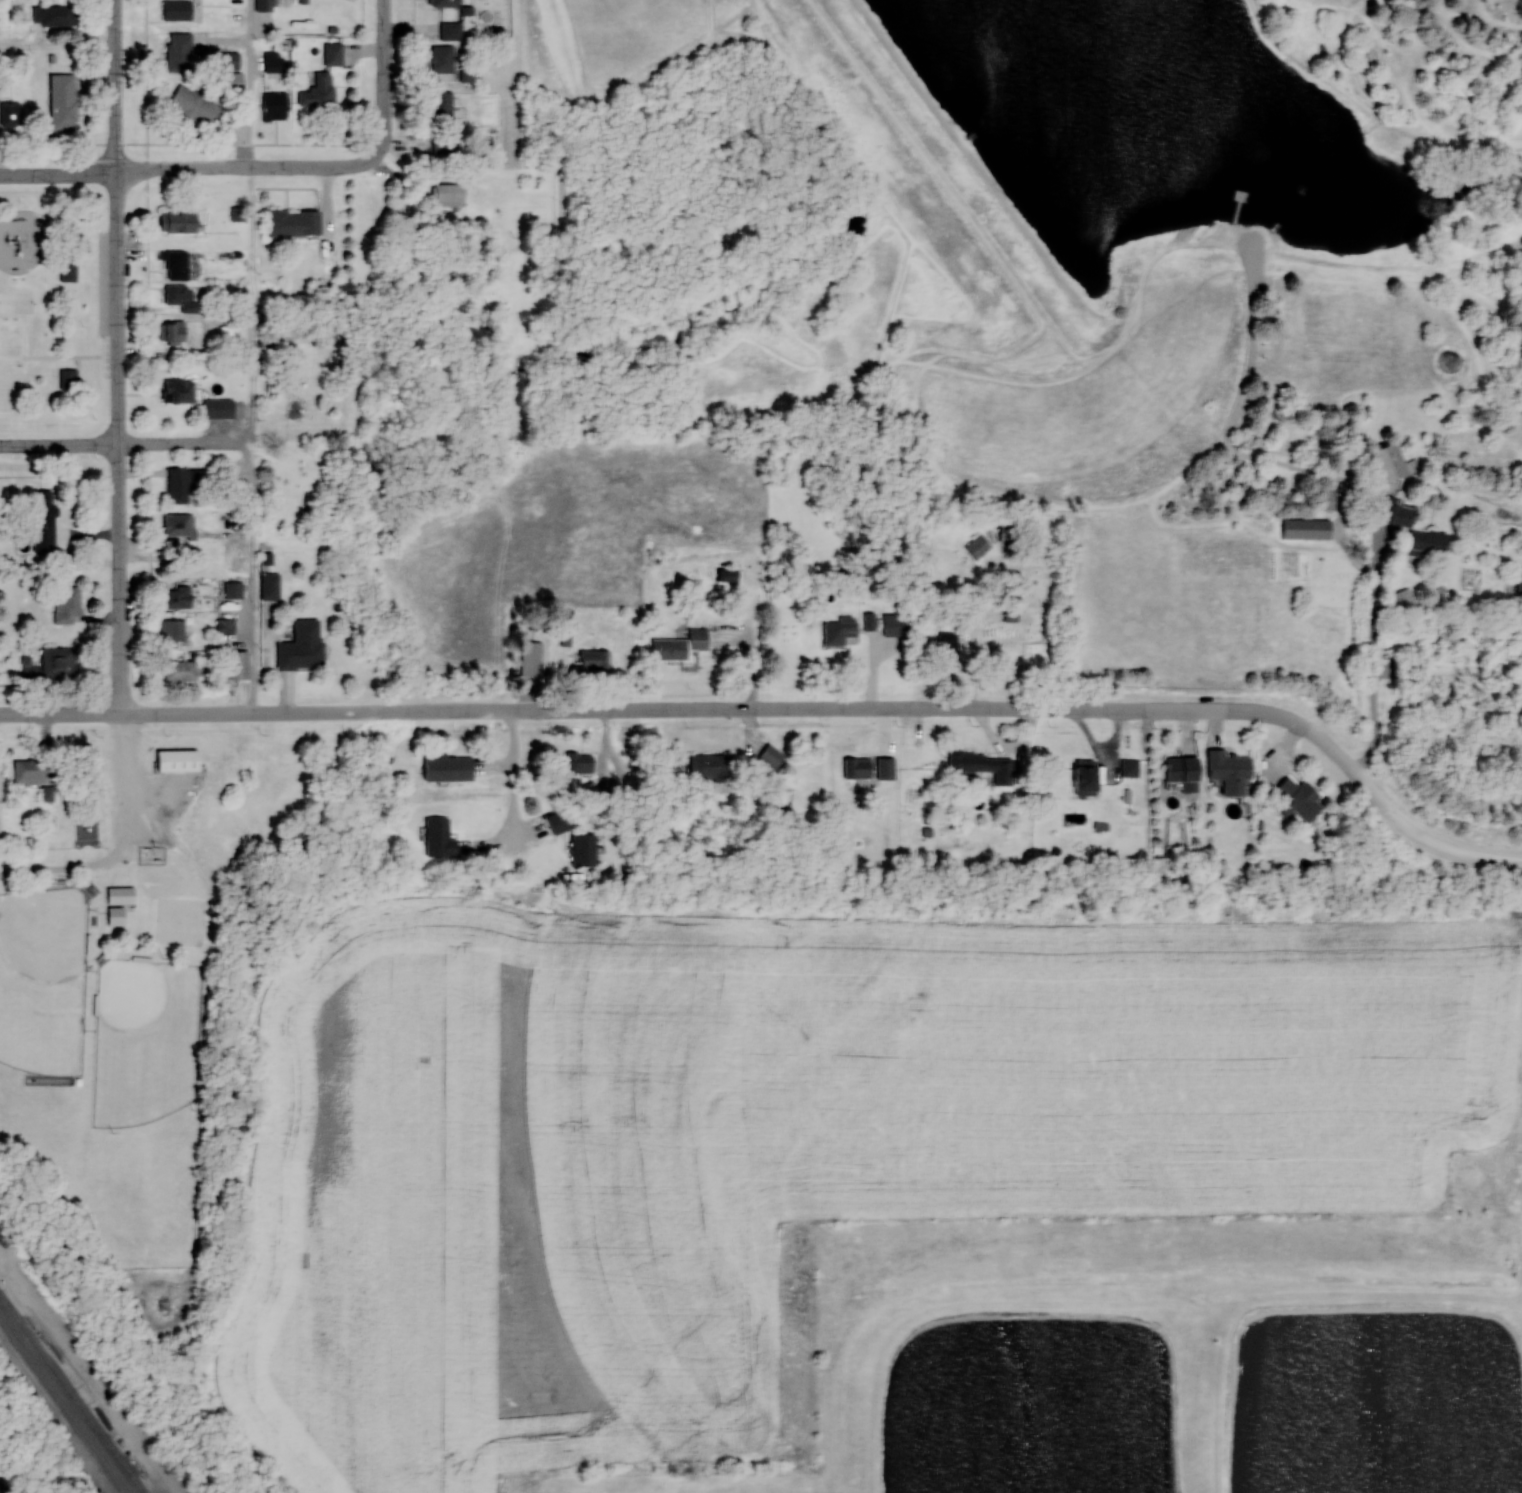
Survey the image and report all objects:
building: (445, 3)
building: (264, 6)
building: (177, 11)
building: (54, 16)
building: (452, 31)
building: (179, 52)
building: (334, 55)
building: (274, 63)
building: (450, 68)
road: (385, 82)
building: (319, 92)
building: (63, 103)
building: (195, 106)
building: (275, 107)
building: (441, 107)
building: (10, 116)
building: (445, 146)
road: (187, 168)
building: (449, 197)
building: (179, 222)
building: (294, 223)
parking lot: (1251, 257)
building: (176, 266)
building: (69, 271)
building: (183, 298)
park: (50, 309)
water park: (16, 320)
building: (291, 329)
building: (176, 333)
building: (69, 380)
building: (179, 392)
building: (220, 409)
road: (124, 423)
road: (118, 443)
building: (1390, 461)
road: (1365, 483)
building: (184, 484)
building: (1329, 501)
building: (45, 523)
building: (180, 526)
building: (1307, 528)
building: (1415, 529)
building: (1008, 536)
building: (978, 546)
building: (1519, 583)
building: (271, 585)
building: (176, 596)
building: (1404, 602)
building: (67, 604)
building: (870, 621)
building: (226, 624)
building: (897, 624)
building: (172, 629)
building: (842, 631)
building: (303, 646)
building: (670, 649)
building: (949, 649)
building: (532, 658)
building: (595, 659)
building: (64, 661)
building: (238, 664)
building: (181, 670)
road: (715, 710)
building: (771, 757)
building: (179, 759)
building: (581, 762)
building: (984, 765)
building: (1130, 767)
building: (449, 768)
building: (711, 768)
building: (858, 768)
building: (1231, 770)
building: (30, 771)
building: (1184, 772)
building: (1087, 777)
building: (1299, 798)
building: (558, 822)
building: (440, 838)
road: (1452, 850)
building: (584, 853)
road: (66, 867)
building: (122, 895)
building: (116, 916)
park: (183, 921)
park: (42, 979)
park: (145, 1041)
landfill: (169, 1303)
railway: (71, 1395)
railway: (64, 1404)

